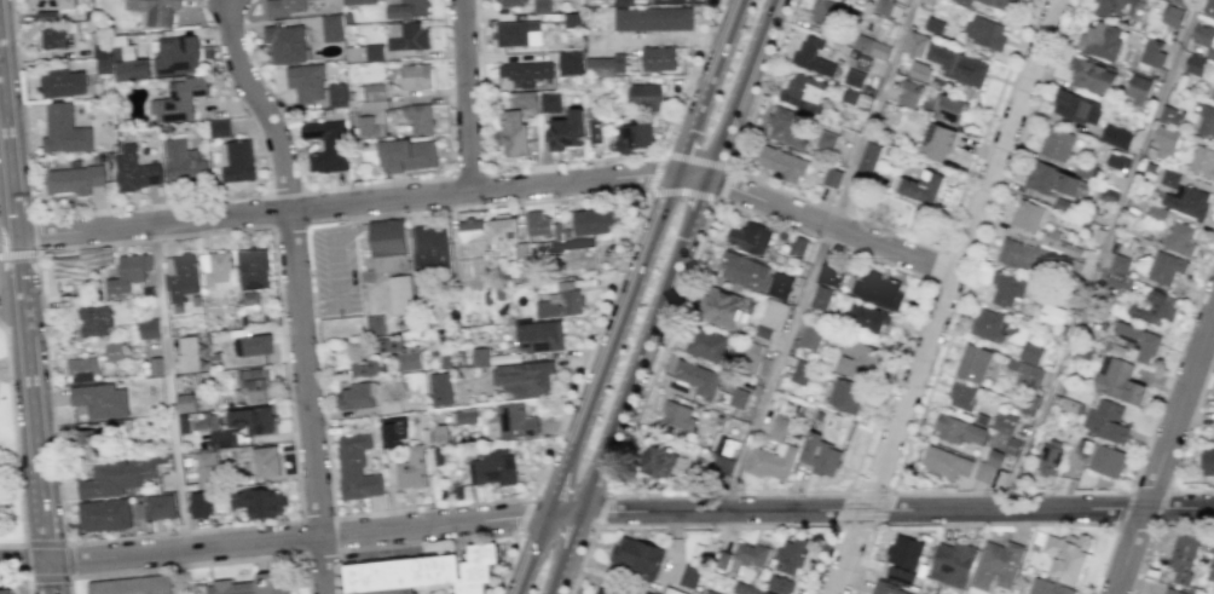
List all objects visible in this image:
building: (358, 2)
building: (509, 2)
building: (619, 2)
building: (1179, 2)
building: (56, 4)
building: (999, 4)
building: (284, 6)
building: (539, 6)
building: (1109, 7)
building: (1208, 7)
building: (405, 8)
building: (155, 10)
building: (825, 13)
building: (46, 16)
building: (1172, 16)
building: (652, 18)
building: (933, 25)
building: (331, 28)
building: (984, 31)
building: (516, 33)
building: (406, 35)
building: (1202, 35)
building: (52, 38)
building: (1102, 40)
building: (285, 44)
building: (914, 44)
building: (871, 47)
building: (364, 52)
building: (1152, 52)
building: (175, 54)
building: (813, 56)
building: (658, 58)
building: (103, 59)
building: (128, 62)
building: (568, 63)
building: (603, 65)
building: (958, 65)
building: (1195, 65)
building: (525, 71)
building: (919, 71)
building: (1091, 75)
building: (415, 76)
building: (852, 77)
building: (305, 81)
building: (63, 82)
road: (481, 85)
building: (1137, 86)
building: (375, 91)
building: (803, 92)
building: (908, 93)
building: (336, 94)
road: (467, 96)
building: (849, 96)
building: (644, 97)
building: (522, 98)
building: (179, 99)
building: (549, 102)
road: (260, 105)
building: (1076, 108)
road: (22, 109)
building: (954, 110)
building: (1169, 116)
building: (417, 117)
building: (1206, 121)
building: (366, 126)
building: (785, 127)
building: (219, 128)
building: (64, 129)
building: (566, 131)
building: (594, 132)
building: (513, 133)
road: (449, 137)
building: (634, 137)
building: (1115, 137)
building: (825, 140)
building: (937, 142)
building: (1164, 142)
building: (1057, 144)
building: (325, 145)
road: (654, 154)
building: (406, 155)
building: (867, 160)
building: (236, 161)
building: (1116, 161)
building: (183, 162)
building: (1202, 162)
building: (781, 163)
building: (134, 171)
road: (468, 173)
building: (831, 177)
building: (1169, 178)
building: (74, 179)
building: (1051, 180)
building: (920, 186)
road: (495, 189)
road: (636, 192)
road: (710, 196)
building: (1187, 202)
building: (1156, 212)
building: (1027, 215)
building: (591, 221)
building: (537, 224)
road: (873, 224)
road: (288, 226)
building: (470, 229)
building: (503, 229)
road: (34, 235)
building: (750, 237)
building: (1180, 238)
building: (1059, 243)
building: (387, 244)
building: (797, 247)
building: (429, 248)
road: (1103, 254)
road: (820, 255)
building: (1022, 255)
building: (580, 259)
building: (79, 263)
building: (1118, 264)
building: (1164, 267)
building: (253, 269)
building: (215, 270)
building: (744, 271)
building: (128, 272)
building: (829, 275)
building: (180, 276)
building: (1117, 281)
building: (781, 286)
building: (1005, 288)
building: (877, 289)
building: (399, 294)
road: (631, 296)
road: (664, 296)
building: (820, 296)
road: (946, 296)
building: (249, 298)
building: (561, 301)
building: (721, 307)
building: (1152, 307)
building: (771, 318)
building: (868, 318)
building: (94, 321)
building: (988, 324)
road: (28, 328)
building: (148, 328)
building: (539, 336)
building: (810, 336)
building: (1137, 342)
building: (253, 345)
building: (706, 345)
building: (112, 351)
building: (400, 352)
building: (187, 353)
building: (1030, 353)
building: (479, 357)
building: (857, 361)
building: (972, 363)
building: (362, 368)
building: (81, 369)
building: (799, 371)
building: (1025, 373)
building: (524, 377)
building: (696, 377)
building: (1117, 380)
building: (255, 383)
road: (169, 388)
building: (440, 388)
building: (961, 394)
building: (355, 396)
building: (845, 396)
building: (738, 397)
building: (99, 400)
building: (184, 403)
road: (307, 403)
building: (462, 416)
building: (678, 416)
building: (250, 420)
building: (1106, 421)
building: (510, 422)
building: (1004, 422)
building: (392, 431)
building: (958, 431)
building: (222, 439)
building: (83, 443)
road: (13, 445)
building: (724, 445)
road: (1163, 451)
building: (773, 452)
building: (819, 455)
building: (1050, 456)
building: (265, 461)
building: (1105, 461)
building: (1208, 461)
building: (722, 463)
building: (944, 463)
building: (492, 467)
building: (355, 468)
building: (411, 468)
building: (206, 469)
building: (116, 475)
building: (1, 488)
road: (793, 492)
road: (952, 492)
building: (260, 502)
building: (200, 503)
building: (160, 506)
road: (601, 509)
road: (372, 512)
road: (605, 513)
building: (103, 514)
road: (524, 514)
road: (994, 523)
road: (855, 524)
road: (713, 525)
road: (438, 540)
road: (69, 541)
road: (336, 550)
building: (903, 552)
building: (751, 553)
building: (790, 555)
building: (1066, 555)
building: (636, 556)
building: (1183, 556)
road: (67, 559)
building: (722, 559)
road: (24, 561)
road: (198, 564)
building: (952, 564)
building: (996, 565)
building: (426, 571)
building: (900, 575)
building: (688, 576)
road: (21, 578)
road: (190, 583)
building: (779, 584)
road: (1137, 584)
building: (132, 586)
building: (247, 586)
building: (1047, 587)
building: (746, 589)
building: (889, 589)
building: (6, 590)
building: (602, 592)
building: (709, 592)
building: (1172, 592)
building: (648, 593)

